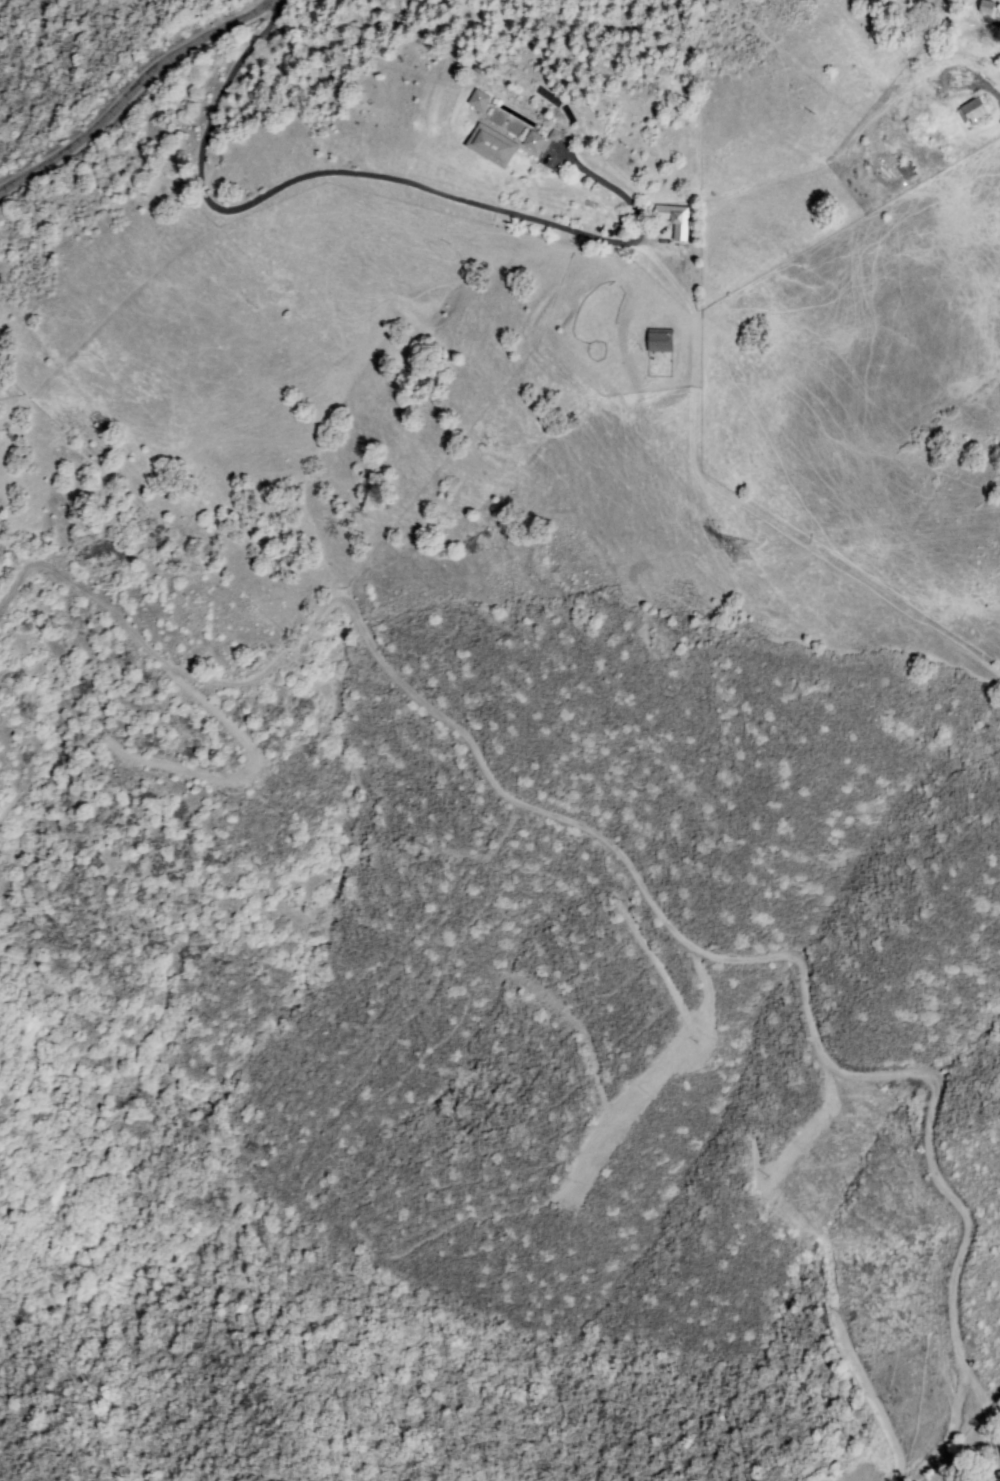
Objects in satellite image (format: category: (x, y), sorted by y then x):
building: (987, 7)
building: (996, 10)
road: (135, 94)
building: (480, 101)
building: (985, 109)
building: (974, 110)
building: (534, 141)
building: (492, 146)
road: (373, 176)
building: (675, 220)
building: (661, 342)
power tower: (746, 553)

